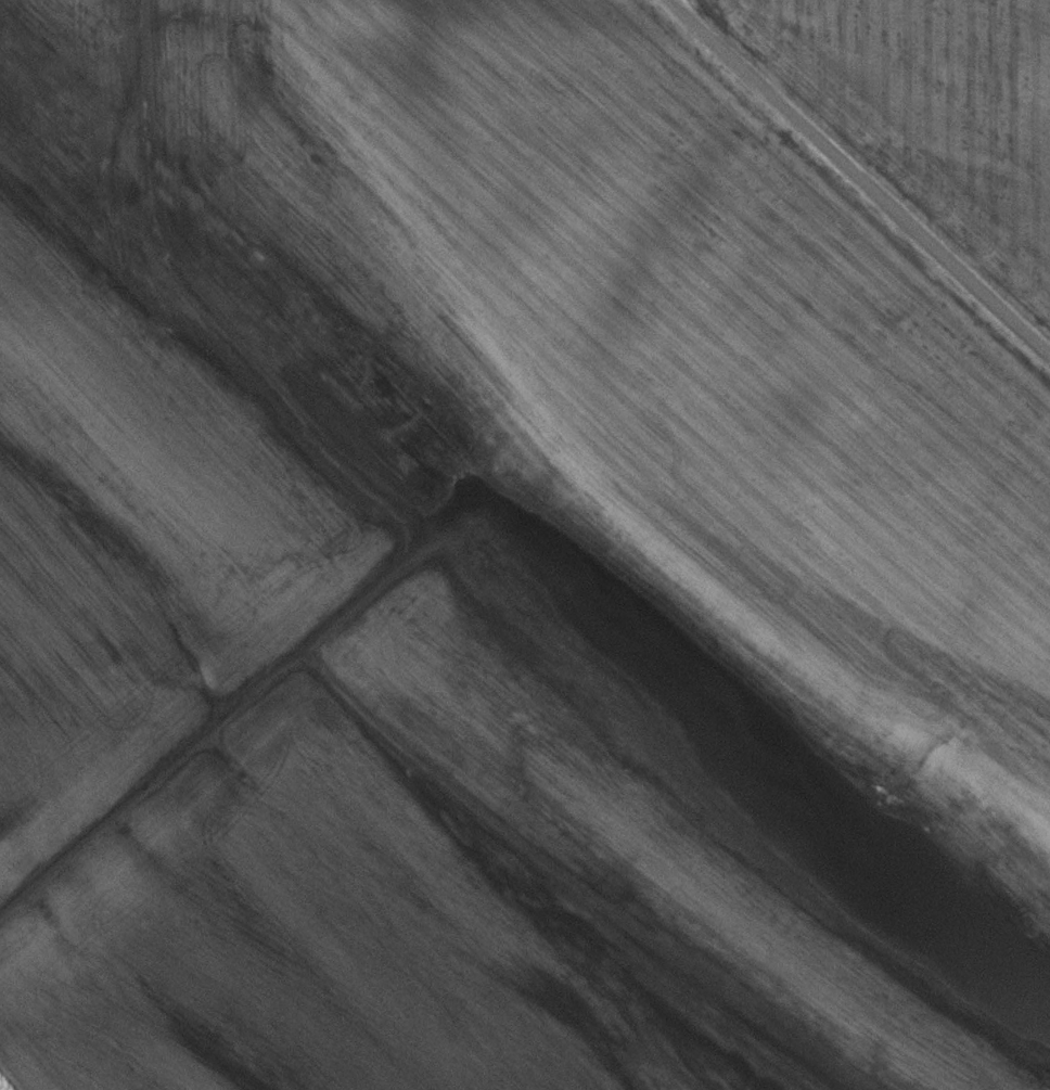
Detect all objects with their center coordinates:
road: (851, 191)

